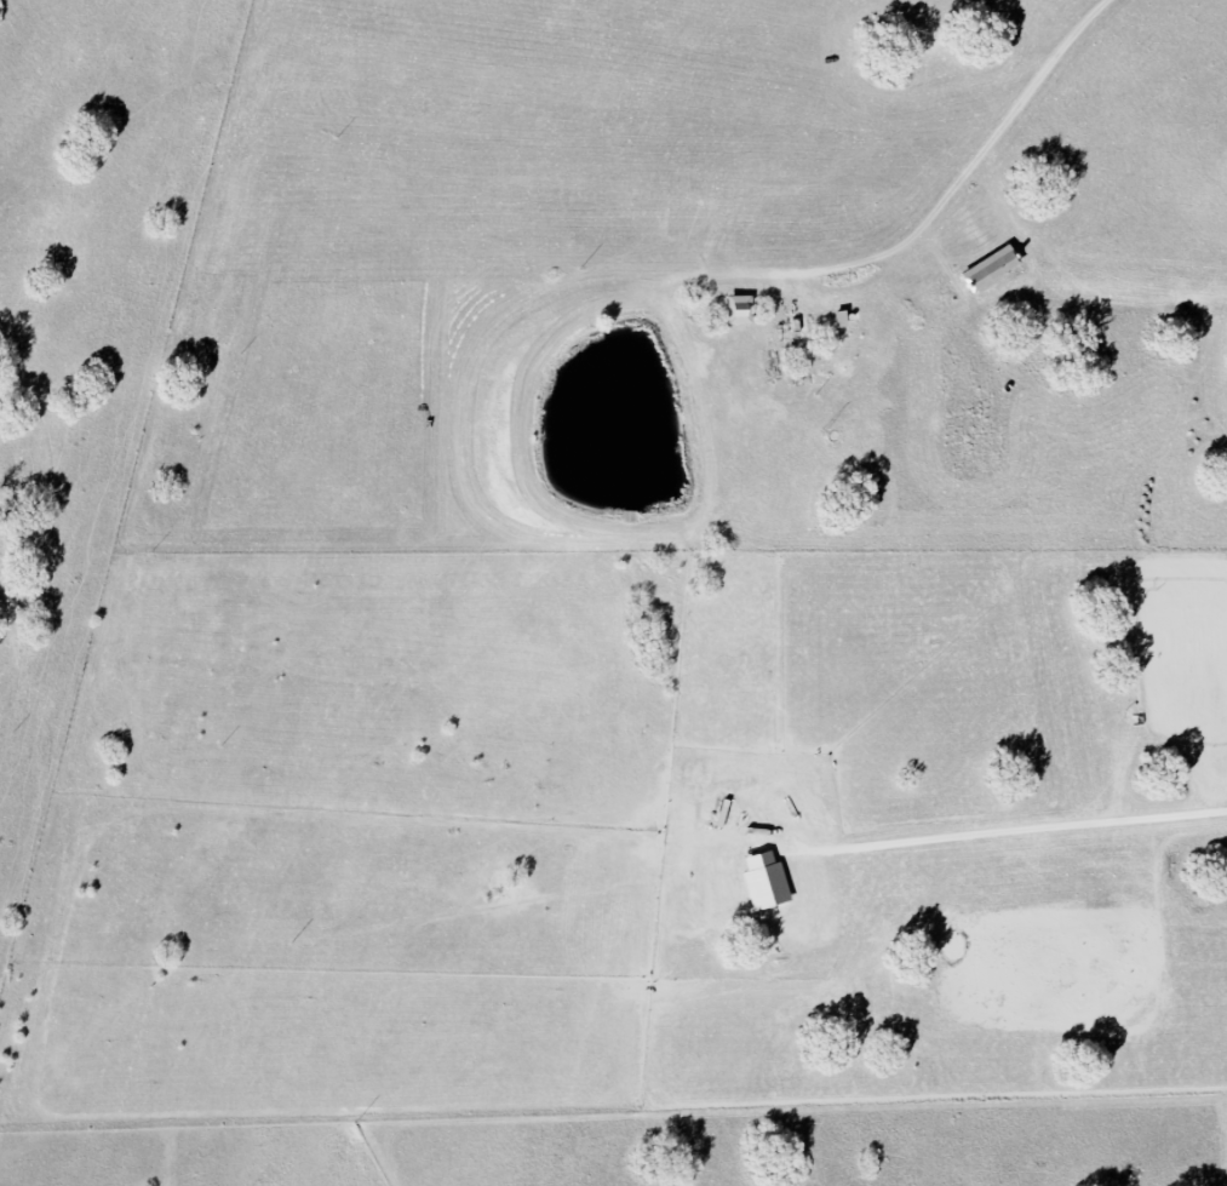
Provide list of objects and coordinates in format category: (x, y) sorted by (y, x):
road: (954, 187)
building: (993, 268)
road: (1008, 831)
building: (767, 881)

